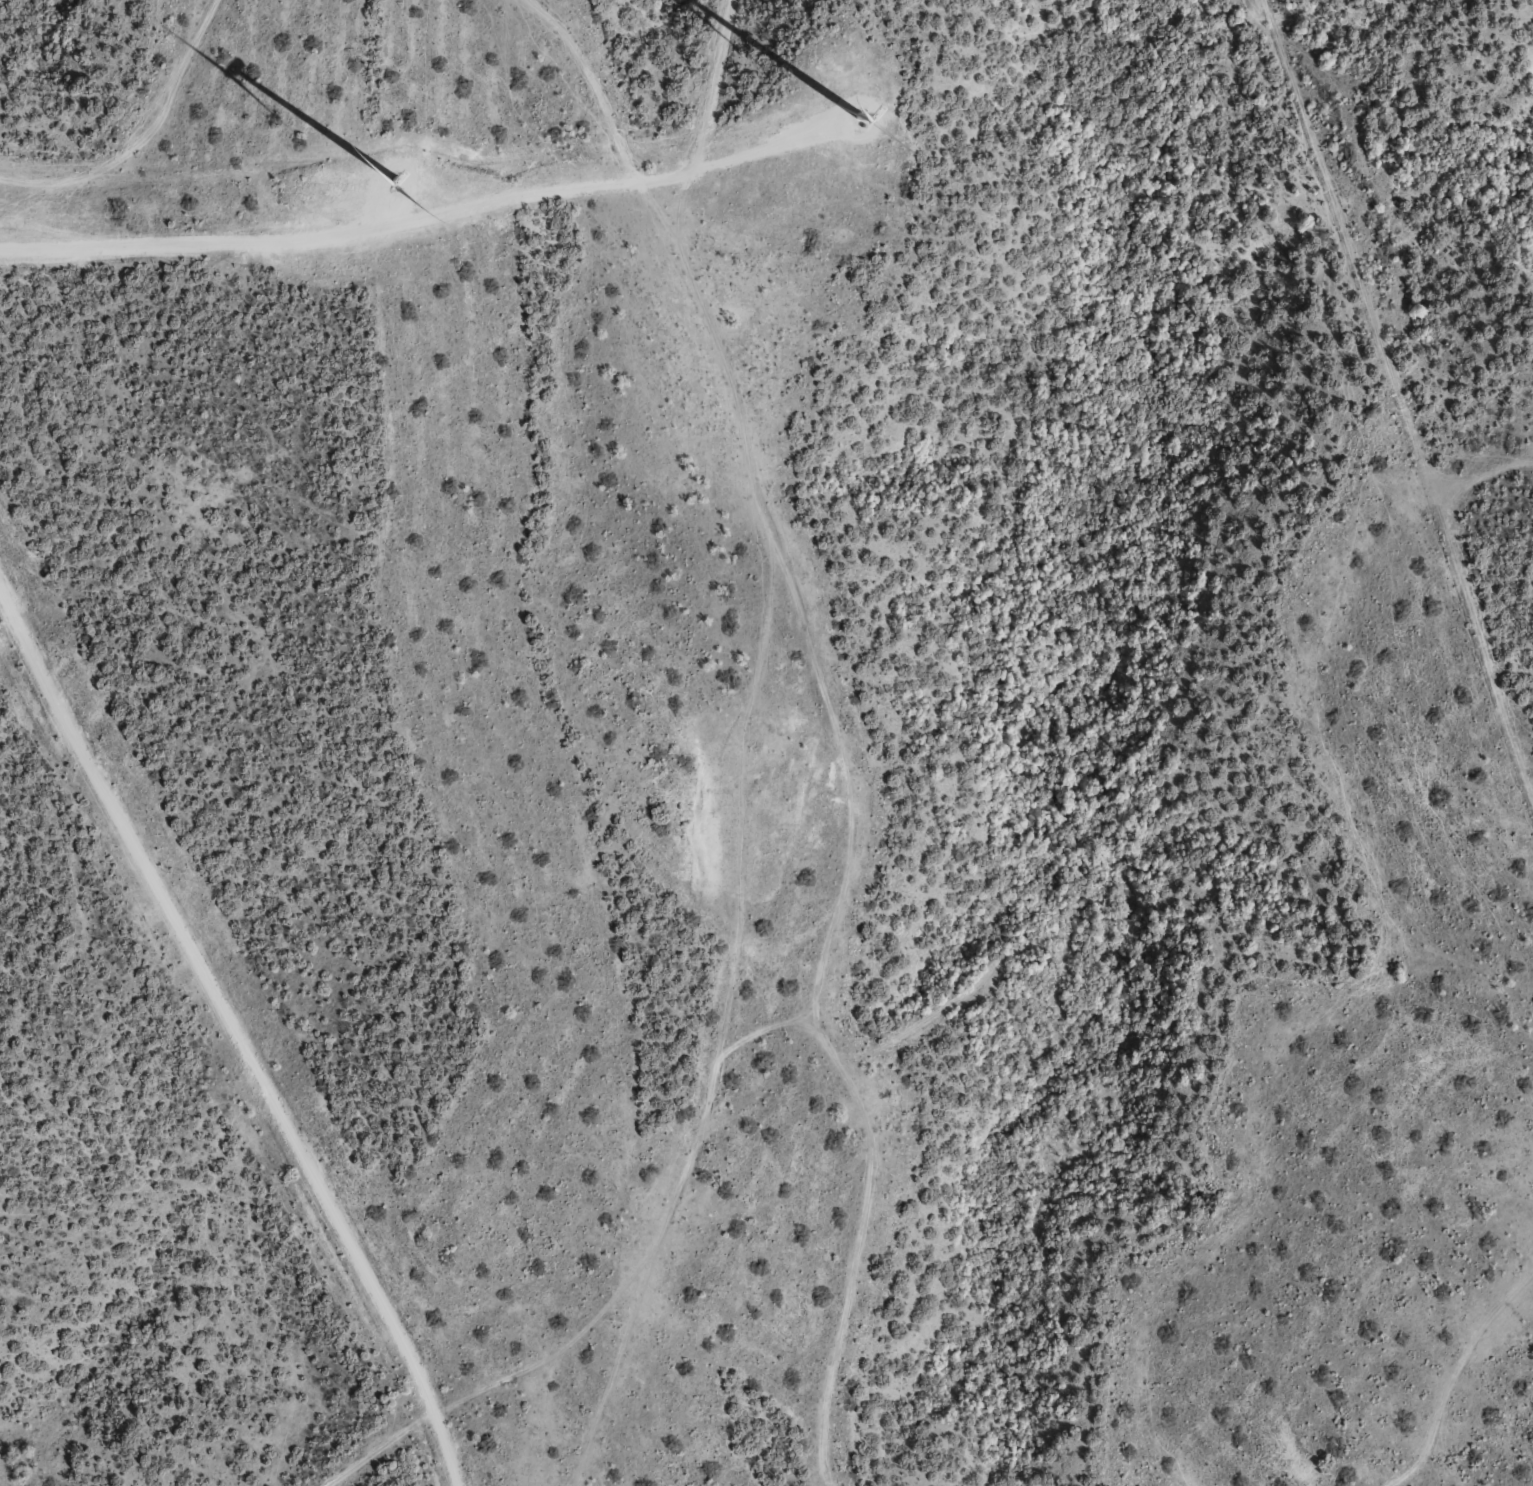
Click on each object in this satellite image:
road: (138, 121)
wind turbine: (866, 123)
road: (536, 135)
wind turbine: (392, 171)
road: (491, 771)
road: (1472, 1365)
road: (593, 1411)

